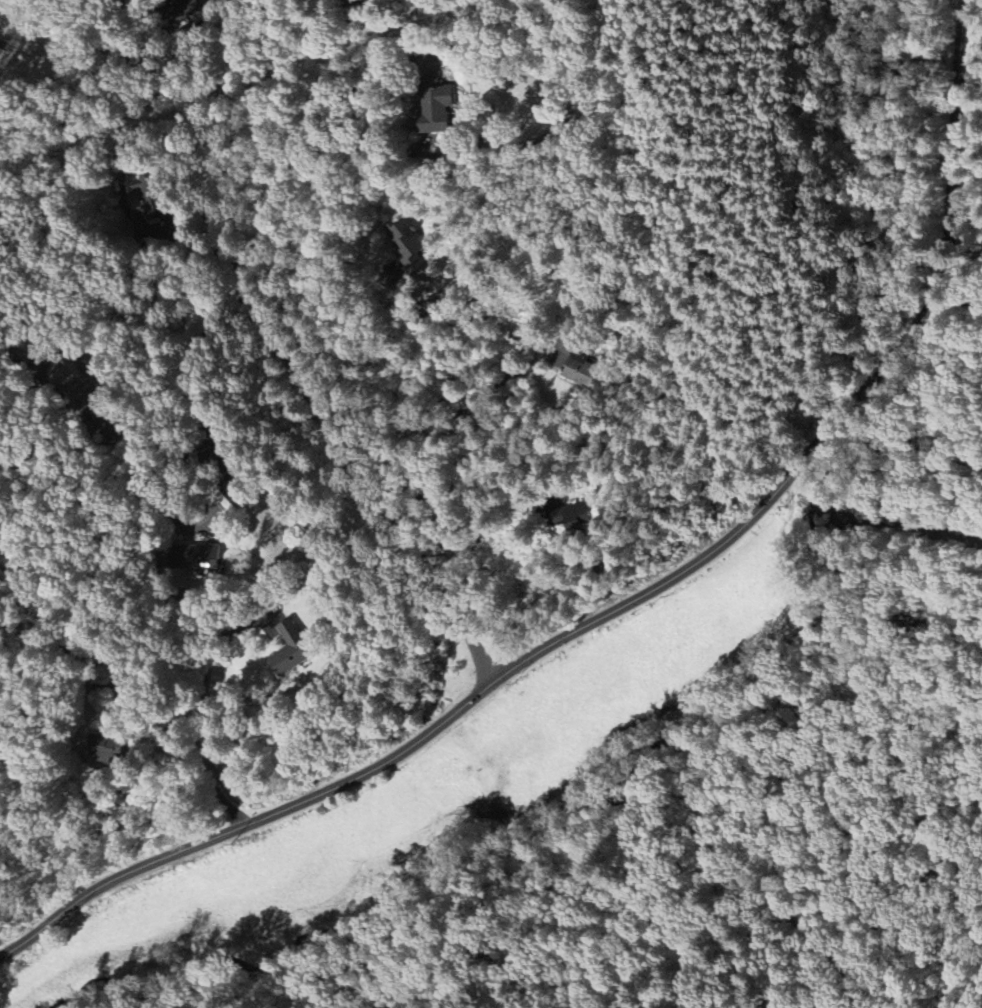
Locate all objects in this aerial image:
building: (184, 11)
road: (189, 34)
road: (371, 77)
building: (435, 106)
road: (301, 141)
building: (154, 214)
road: (731, 234)
road: (184, 236)
building: (406, 241)
road: (328, 254)
road: (128, 339)
building: (581, 370)
road: (446, 428)
road: (155, 463)
road: (352, 489)
building: (571, 518)
road: (67, 527)
road: (476, 544)
building: (194, 557)
road: (634, 601)
building: (290, 649)
road: (119, 671)
road: (49, 702)
road: (202, 709)
building: (107, 748)
road: (608, 814)

